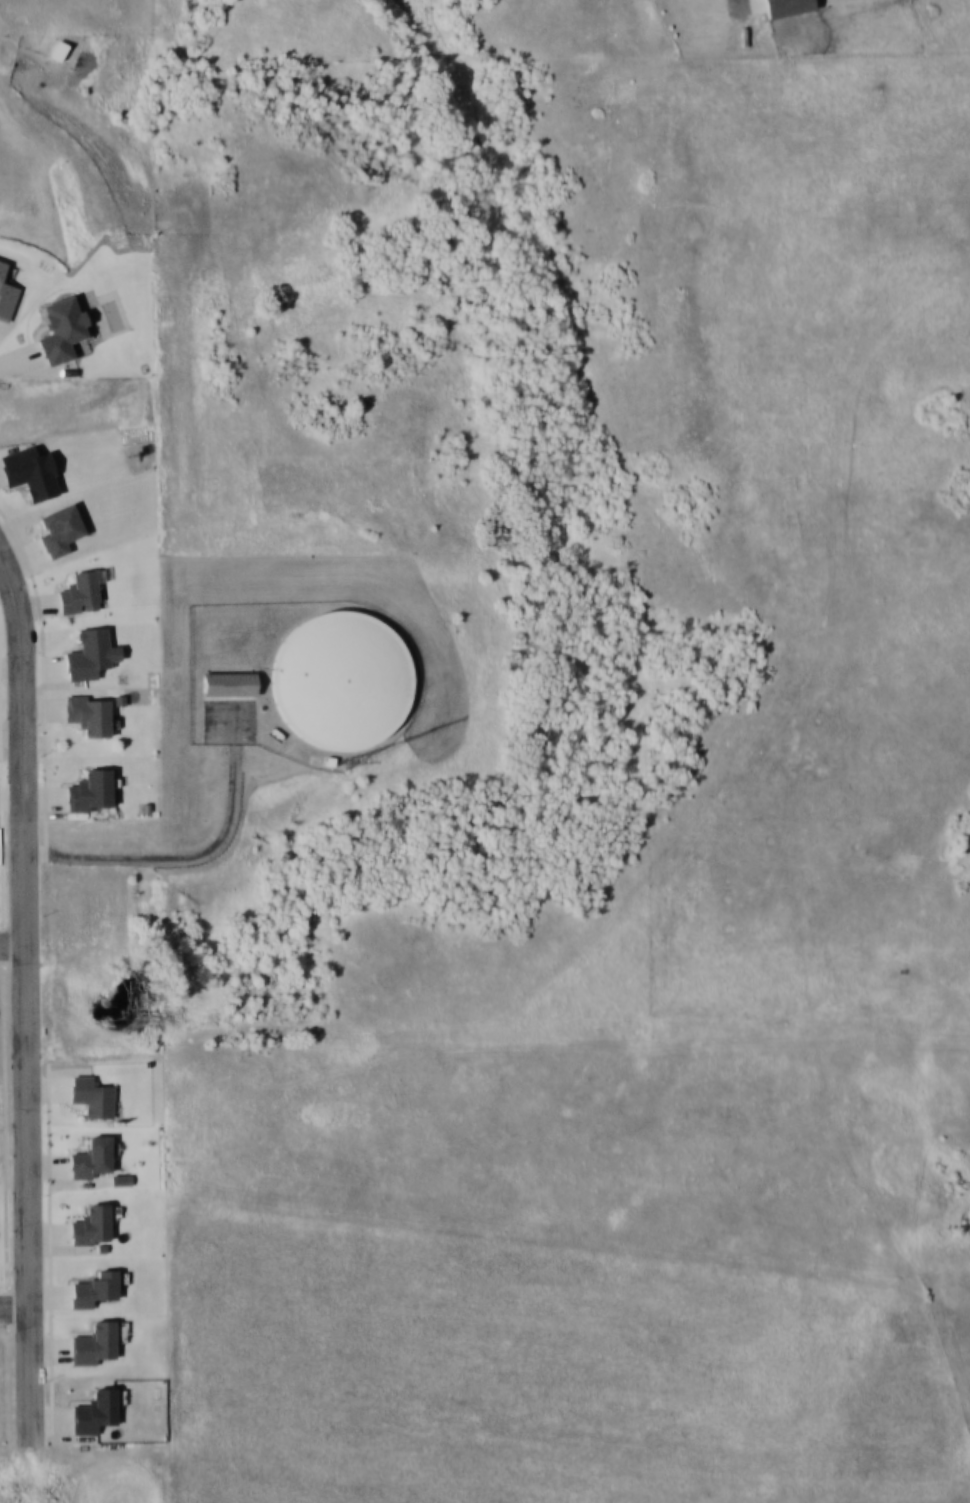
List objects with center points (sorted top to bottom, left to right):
building: (786, 6)
building: (57, 49)
building: (6, 294)
building: (61, 328)
building: (58, 529)
building: (78, 592)
building: (90, 653)
building: (339, 678)
building: (228, 682)
road: (26, 693)
building: (86, 713)
building: (89, 790)
road: (12, 942)
road: (27, 1137)
road: (15, 1305)
building: (95, 1343)

